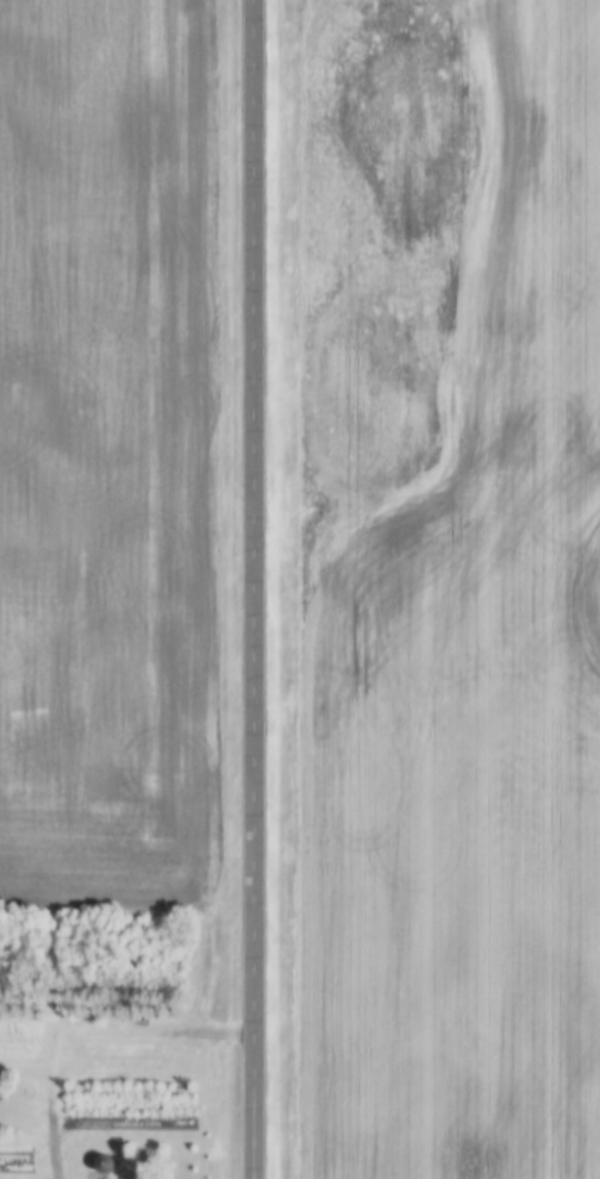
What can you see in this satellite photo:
road: (264, 194)
road: (265, 784)
building: (145, 1158)
building: (102, 1165)
silo: (102, 1165)
road: (65, 1177)

